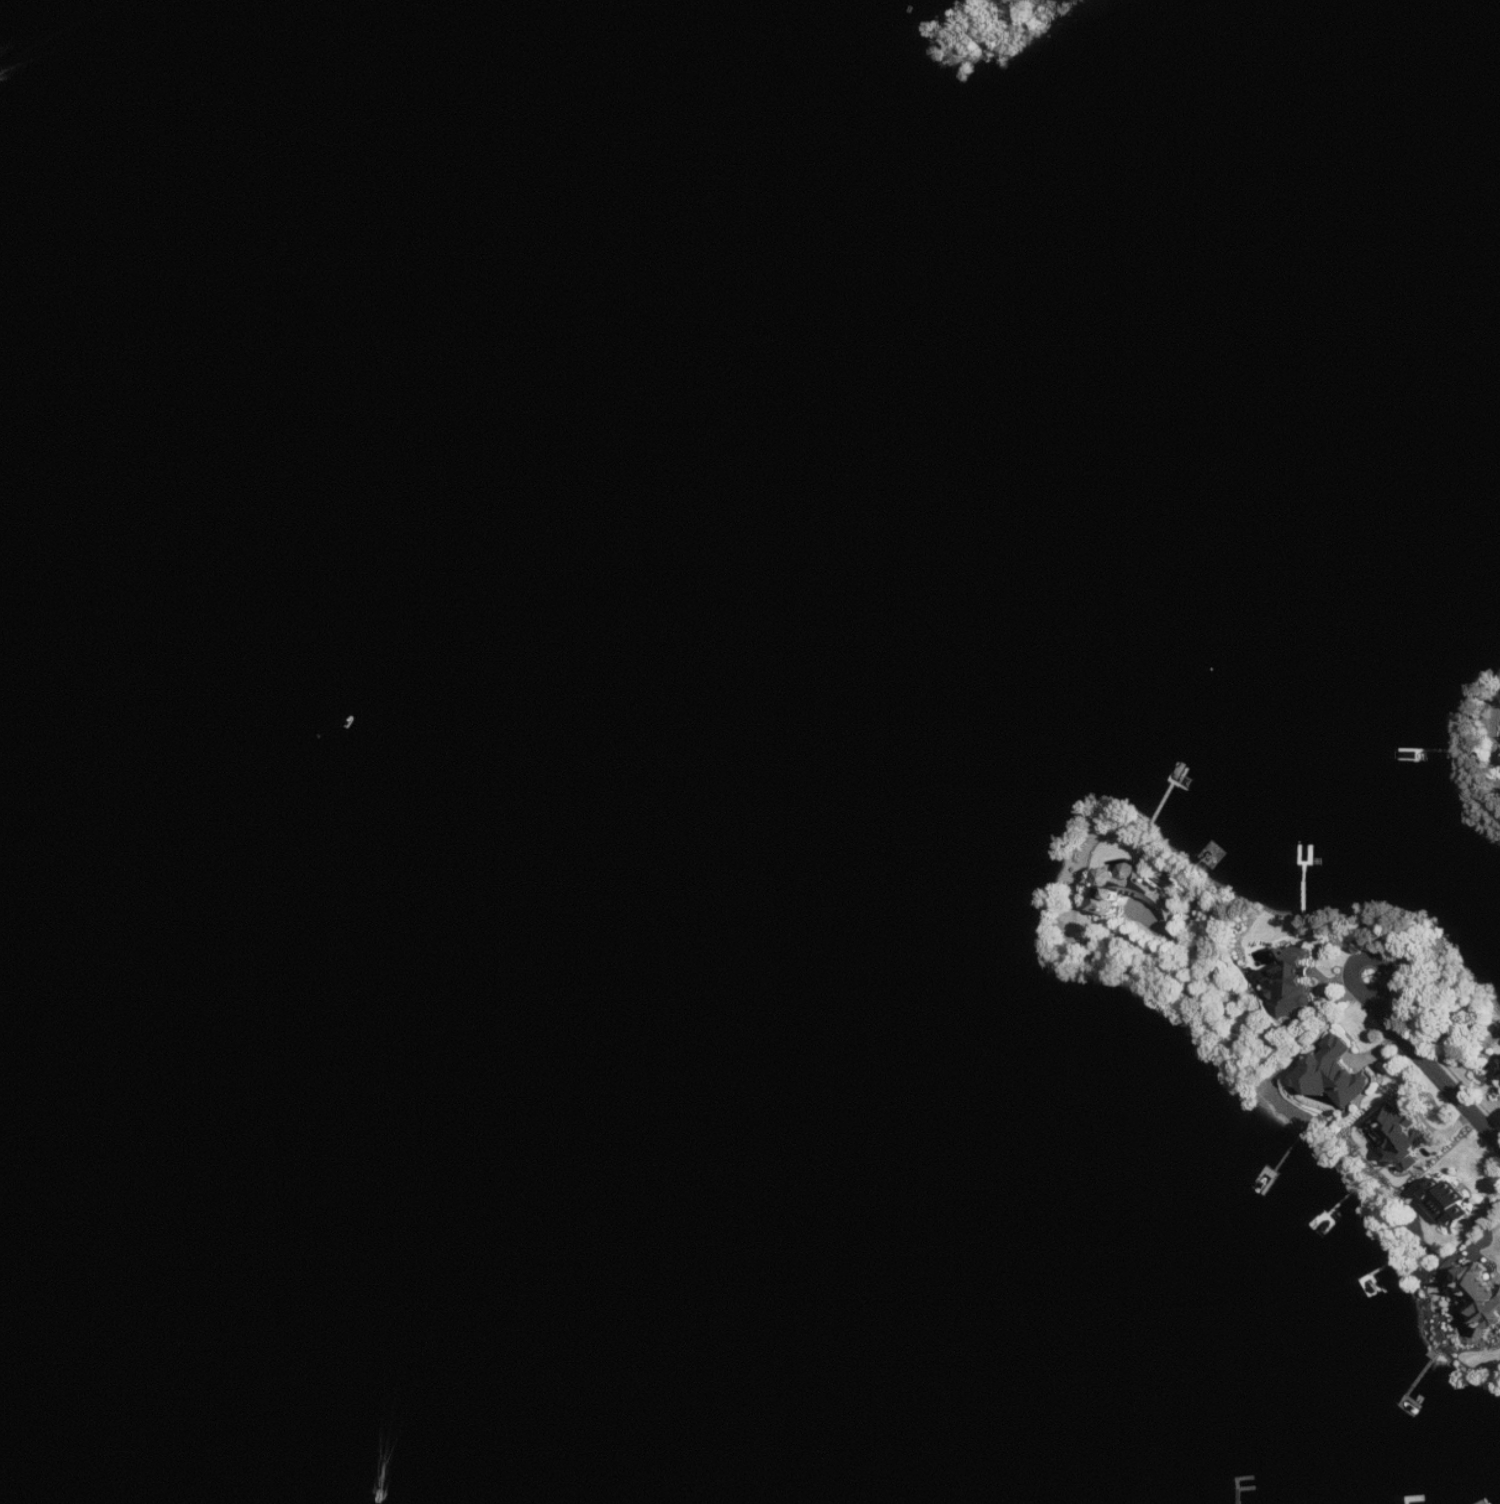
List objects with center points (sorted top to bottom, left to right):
building: (1133, 892)
road: (1371, 957)
building: (1290, 982)
road: (1257, 1021)
road: (1434, 1069)
building: (1335, 1074)
building: (1400, 1135)
building: (1449, 1203)
building: (1482, 1296)

